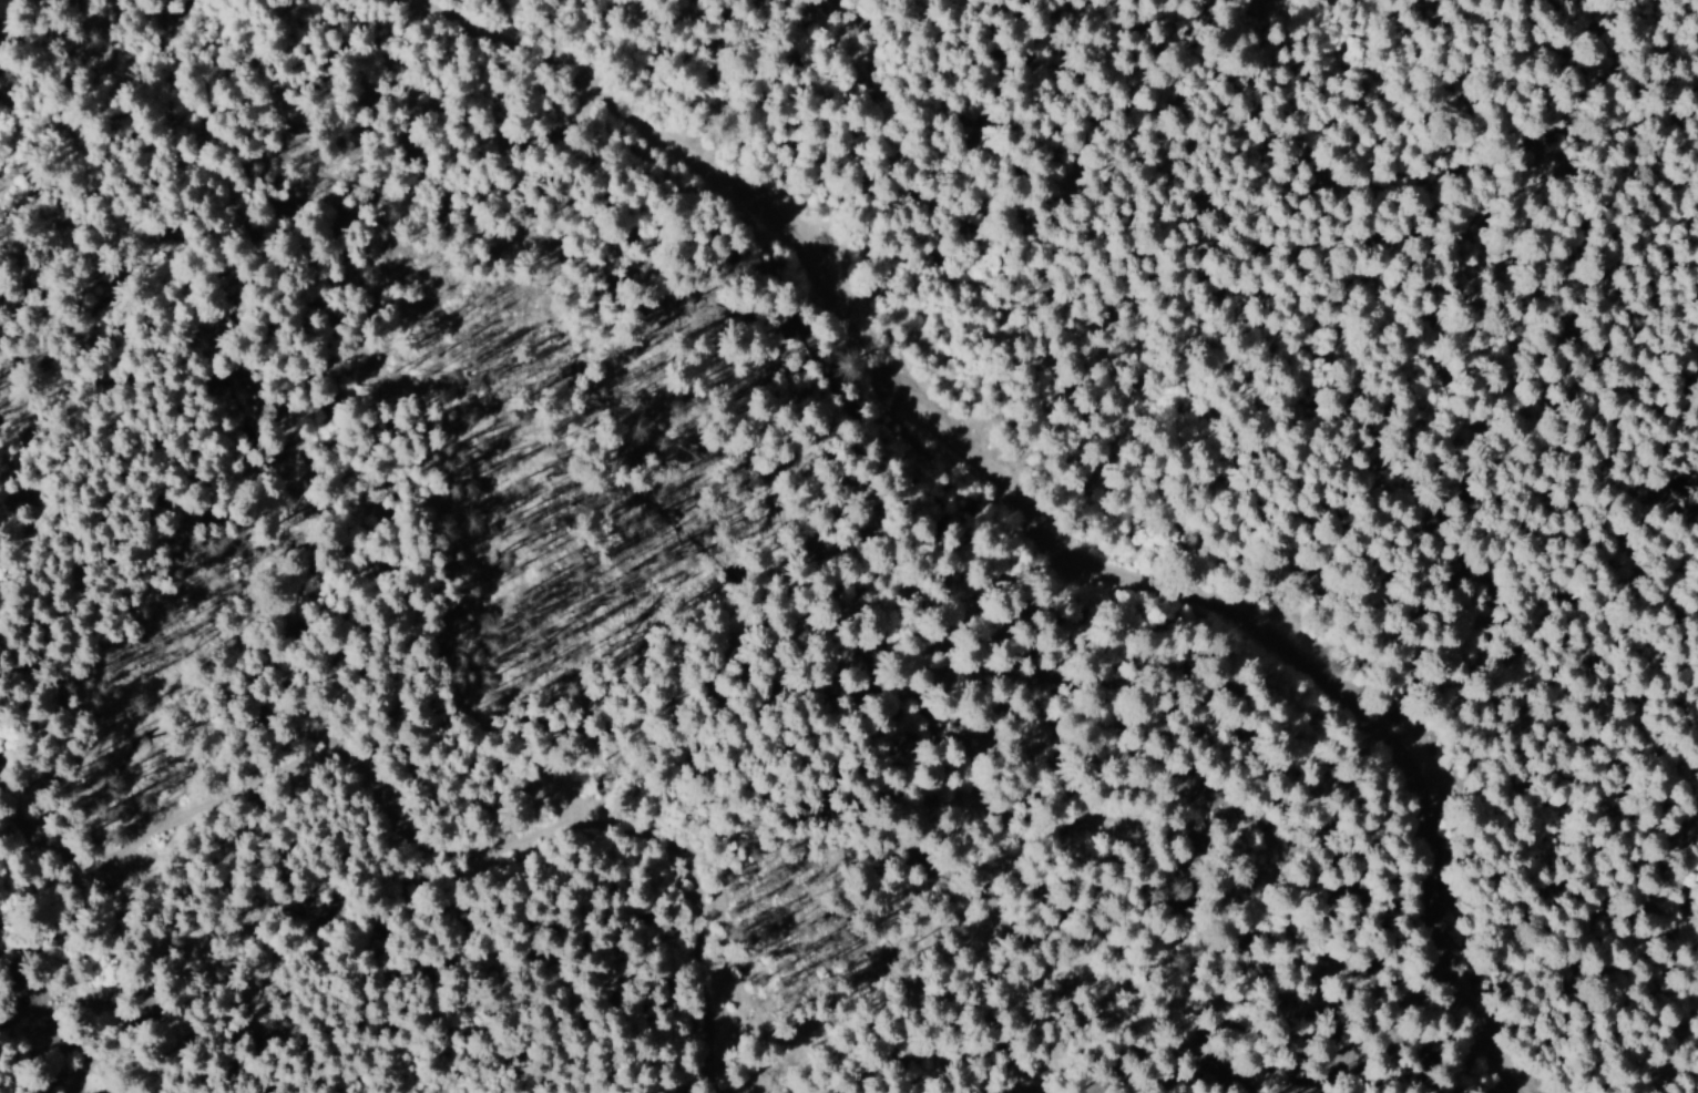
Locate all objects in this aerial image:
road: (1051, 527)

